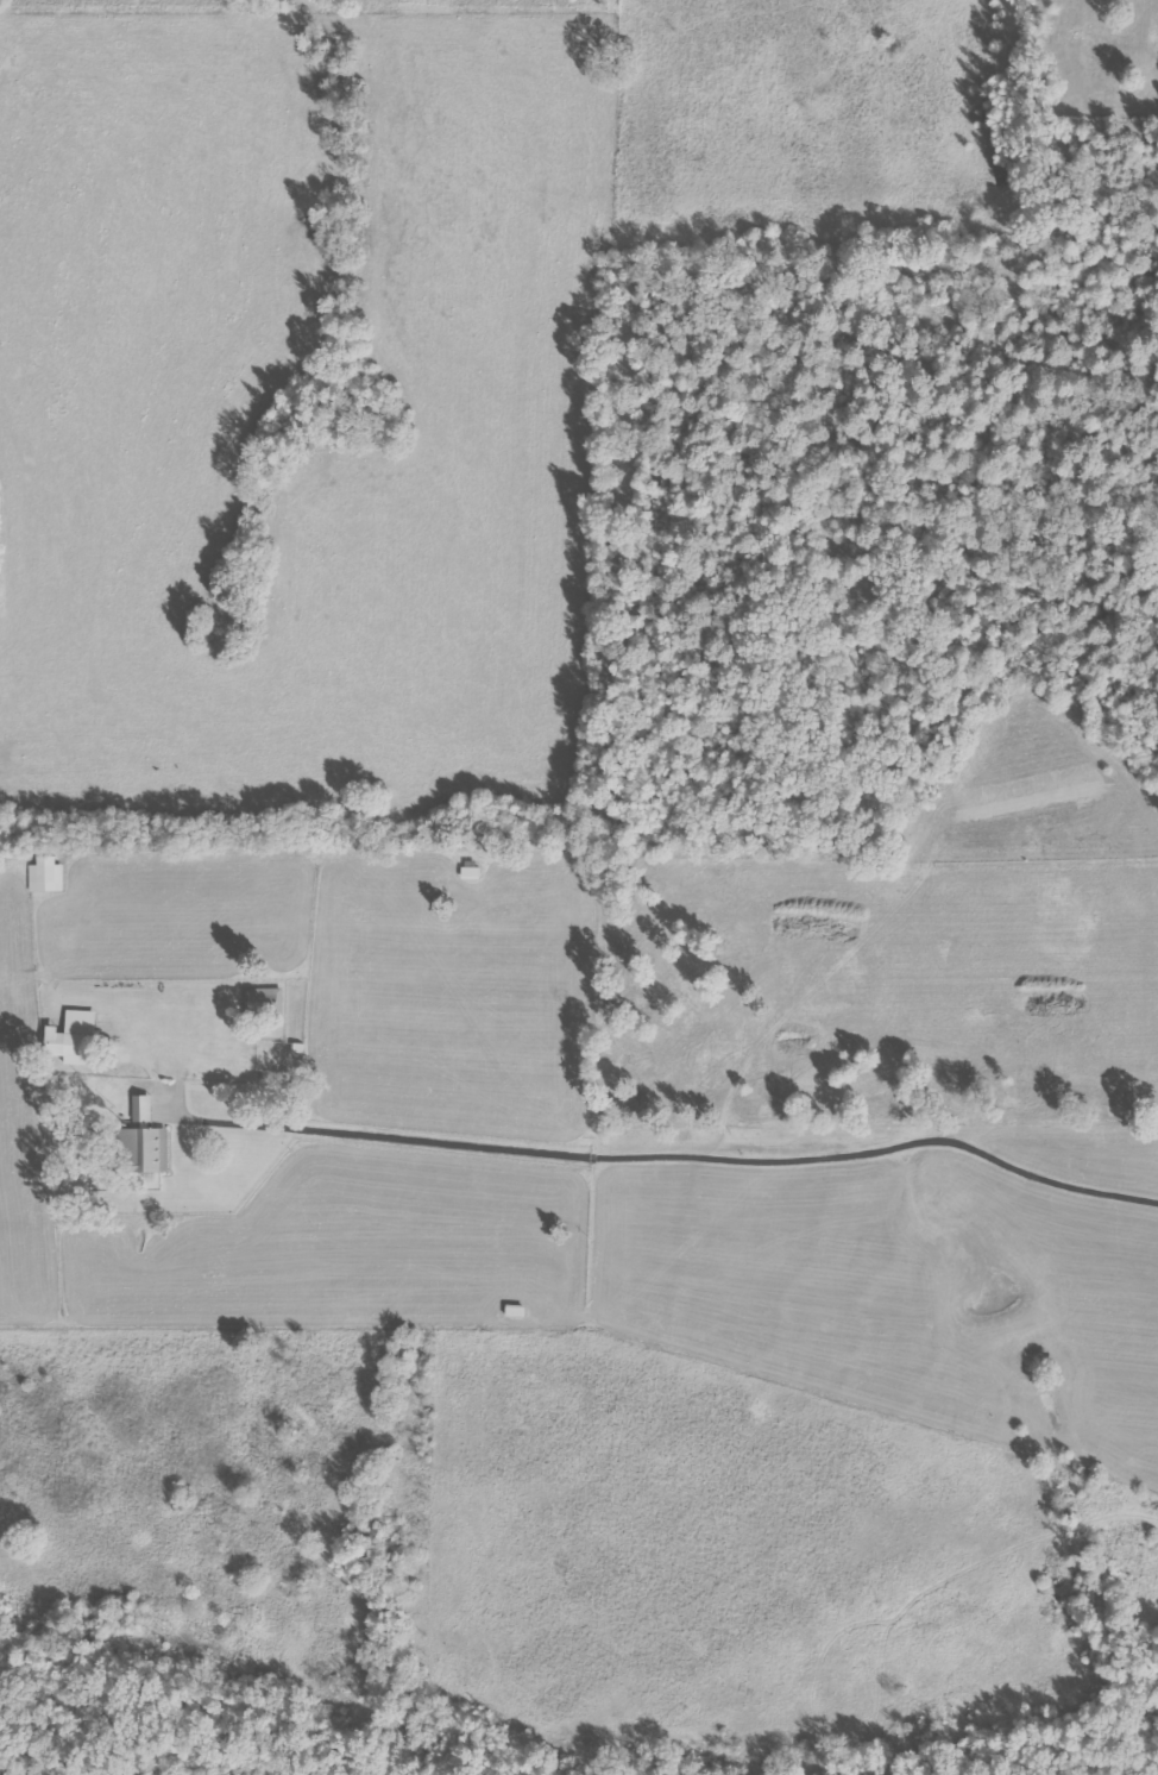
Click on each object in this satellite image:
building: (46, 876)
building: (264, 997)
building: (71, 1036)
building: (143, 1141)

